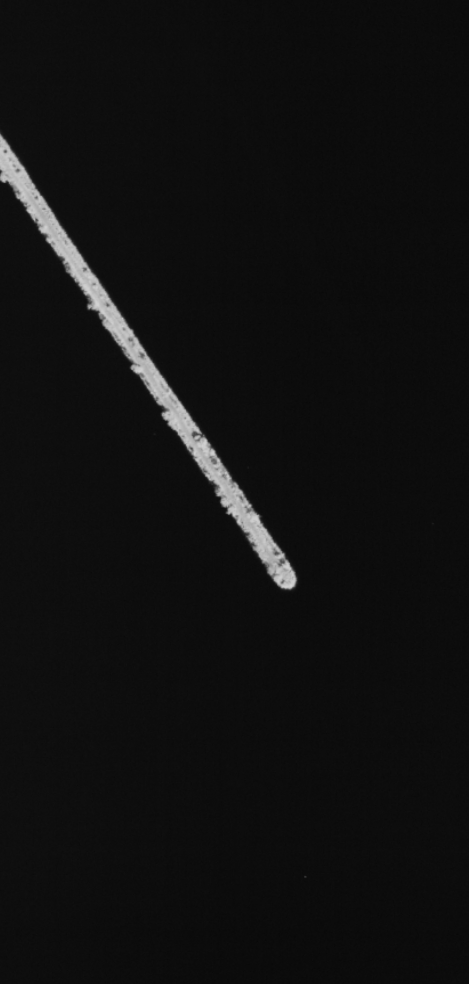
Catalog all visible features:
road: (142, 365)

